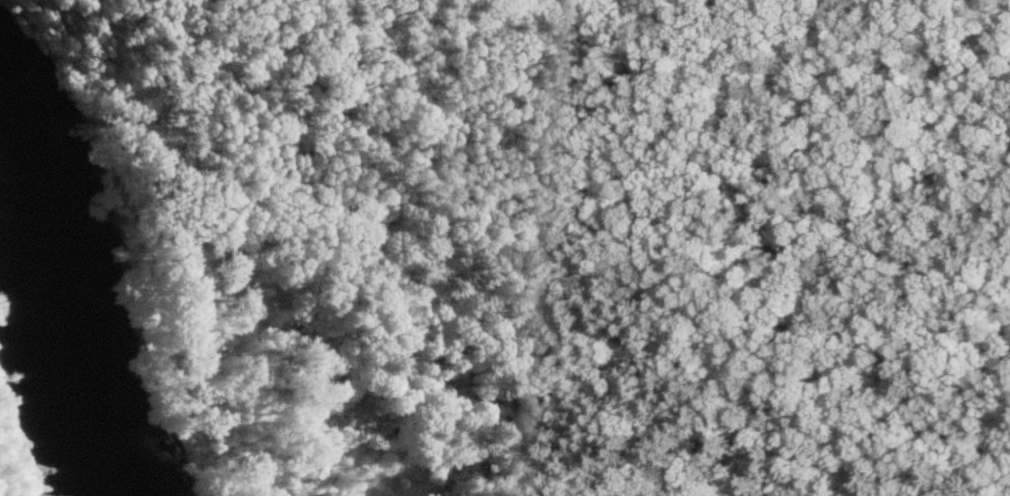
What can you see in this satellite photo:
road: (501, 250)
river: (61, 319)

